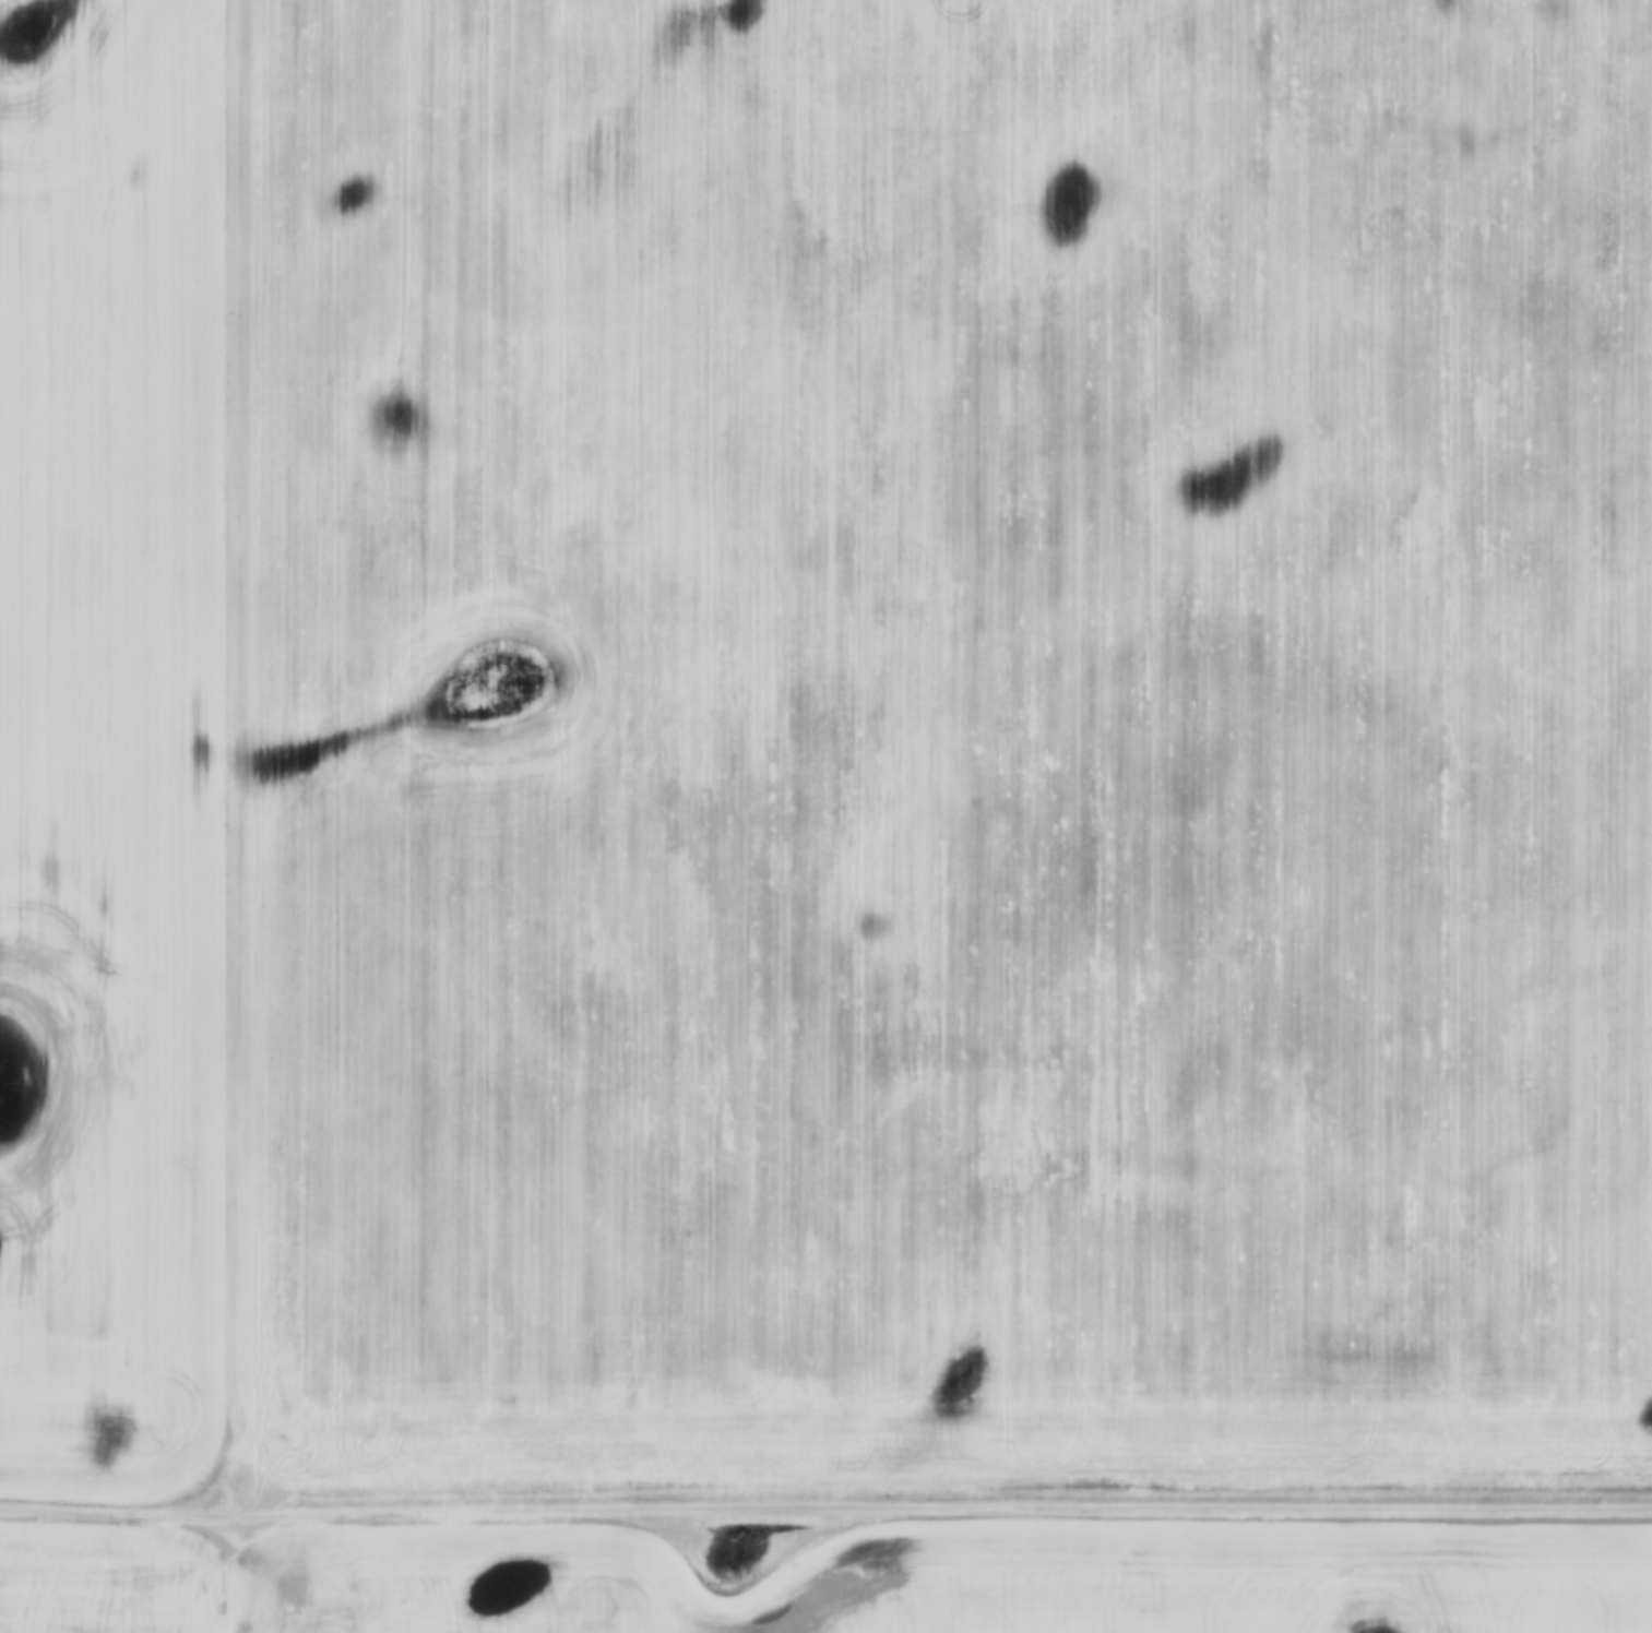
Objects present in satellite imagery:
road: (825, 1505)

